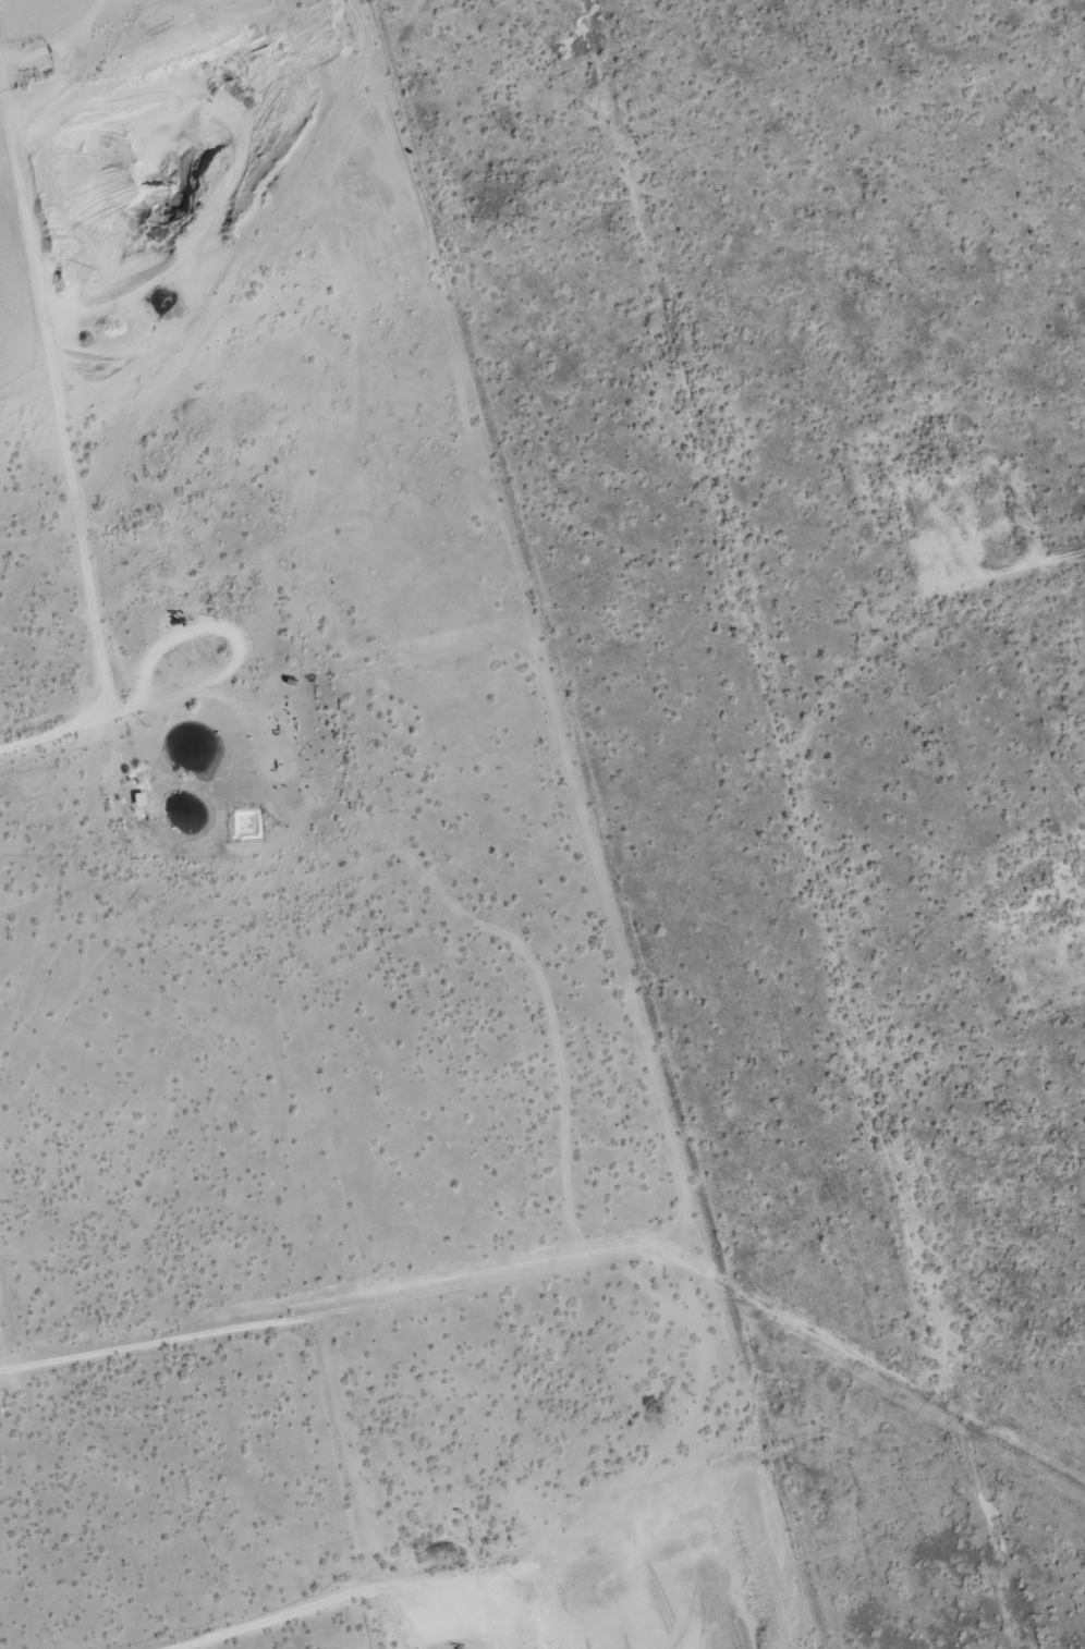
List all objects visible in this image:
road: (1071, 560)
building: (137, 798)

